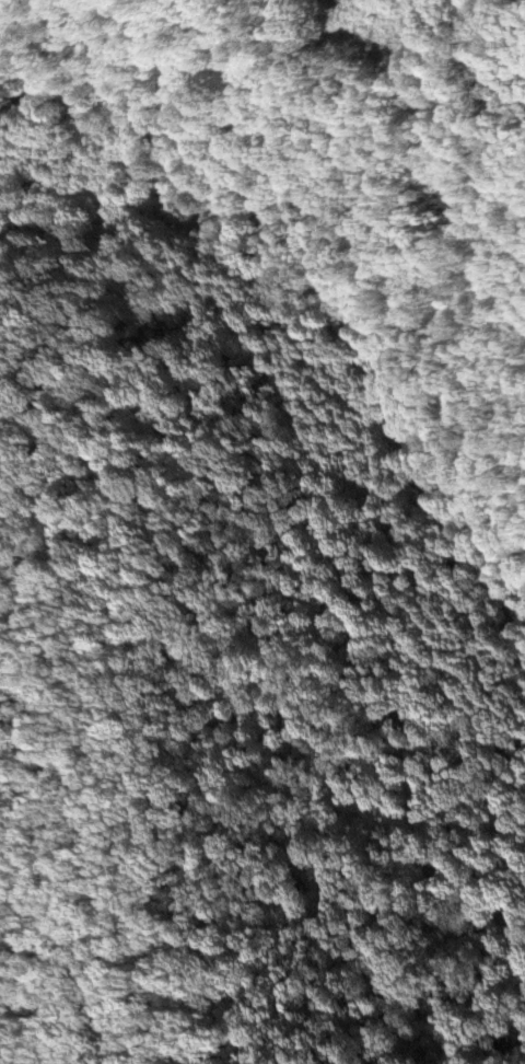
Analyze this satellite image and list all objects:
road: (303, 357)

